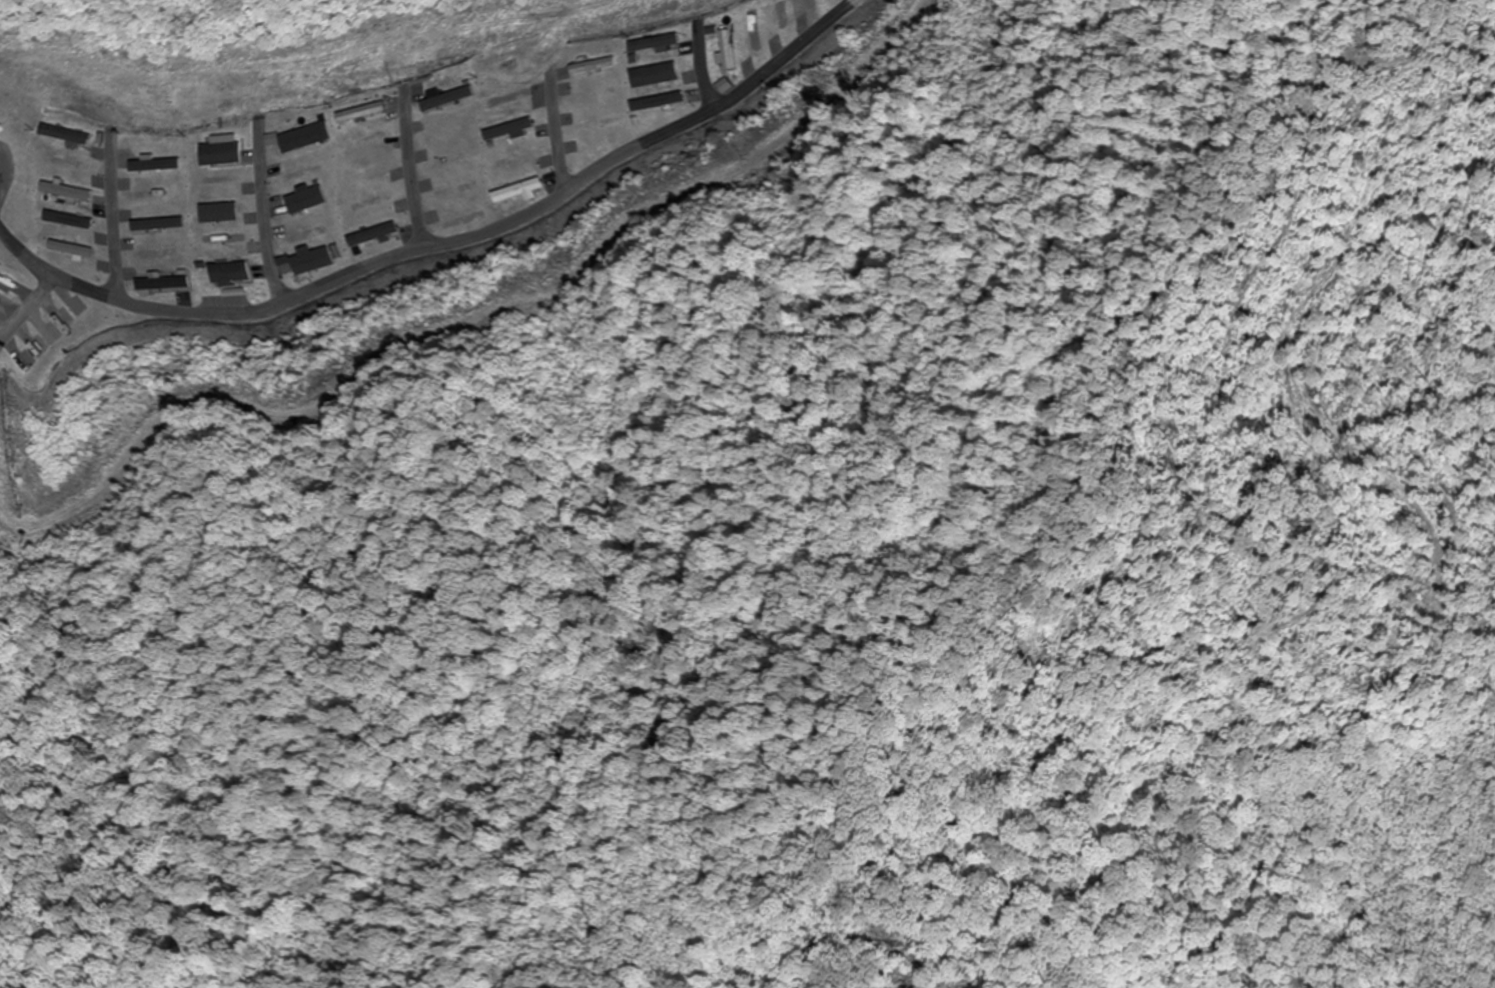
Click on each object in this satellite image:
road: (3, 174)

